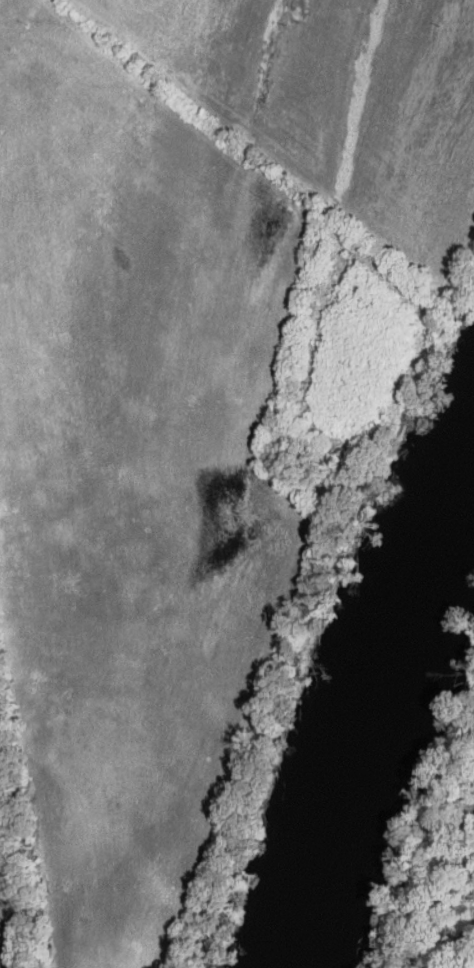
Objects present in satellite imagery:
river: (385, 713)

